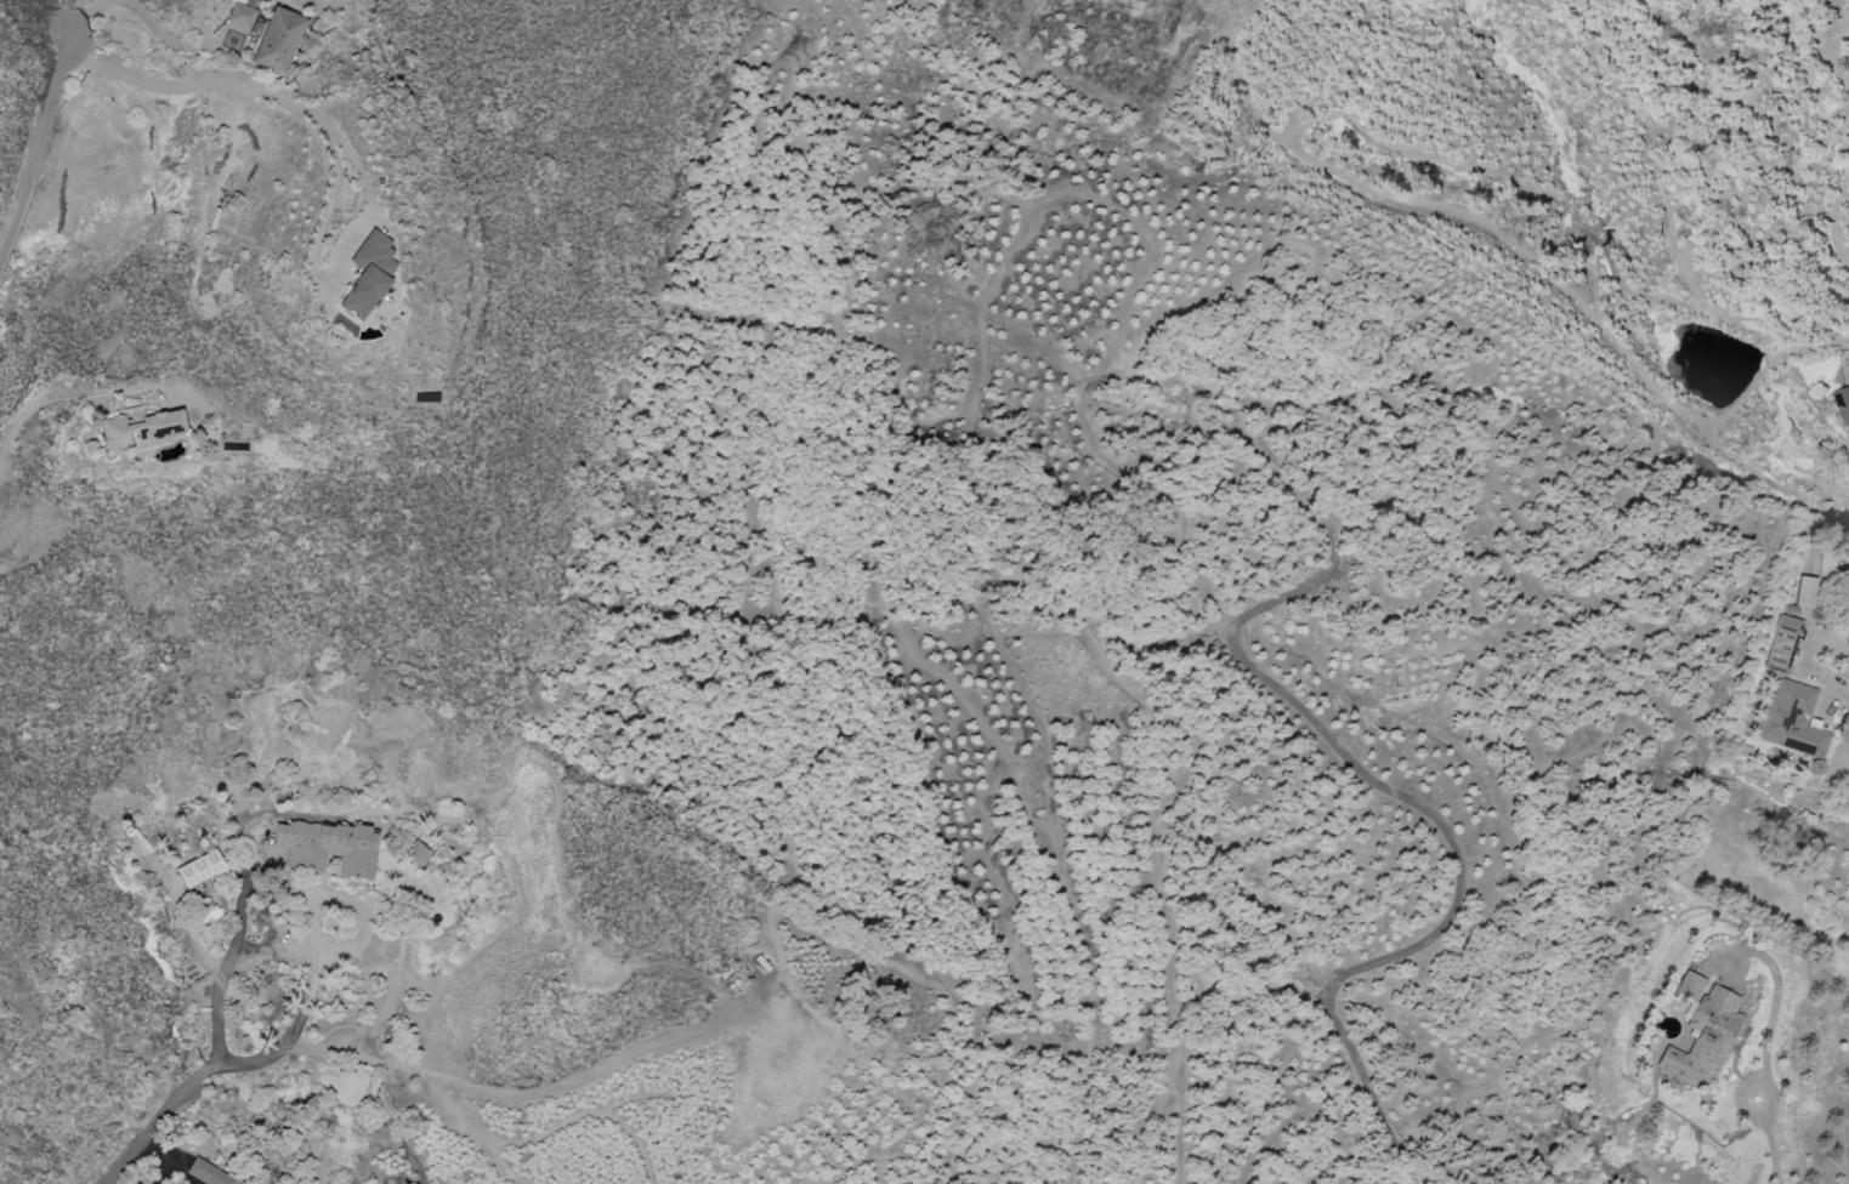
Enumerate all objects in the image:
road: (137, 6)
building: (240, 16)
building: (279, 41)
road: (282, 101)
road: (32, 155)
building: (367, 274)
road: (68, 397)
building: (1843, 403)
building: (140, 429)
building: (1804, 592)
building: (1782, 644)
road: (1808, 664)
road: (1401, 795)
building: (325, 848)
building: (415, 853)
building: (199, 870)
road: (347, 904)
road: (308, 979)
building: (1689, 986)
building: (1701, 1037)
road: (1763, 1052)
road: (214, 1074)
road: (487, 1091)
road: (168, 1159)
building: (206, 1173)
building: (198, 1183)

